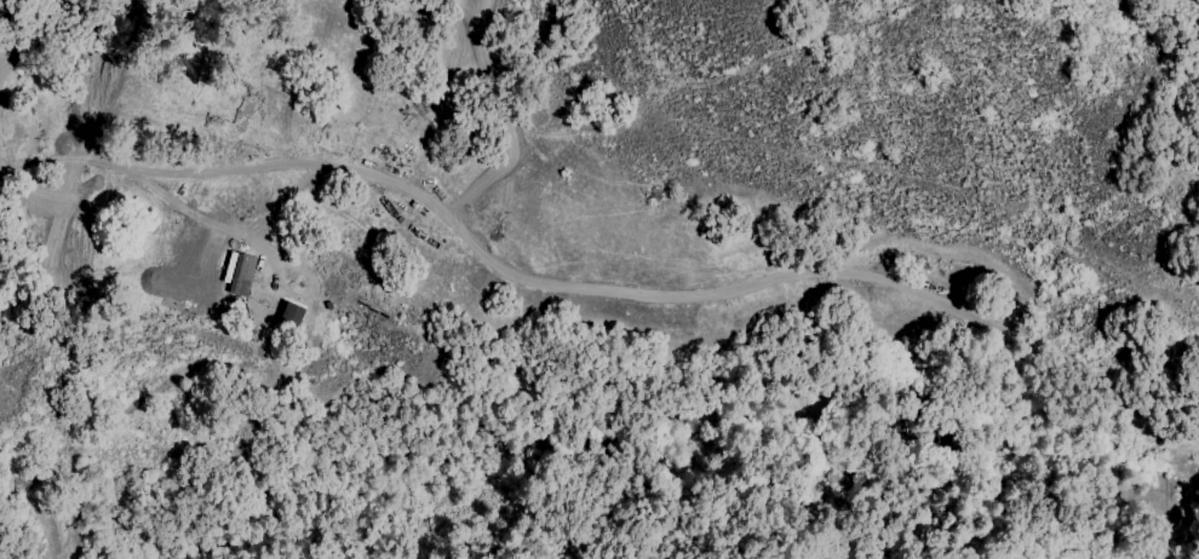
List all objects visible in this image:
road: (194, 214)
building: (240, 272)
road: (608, 292)
building: (297, 315)

